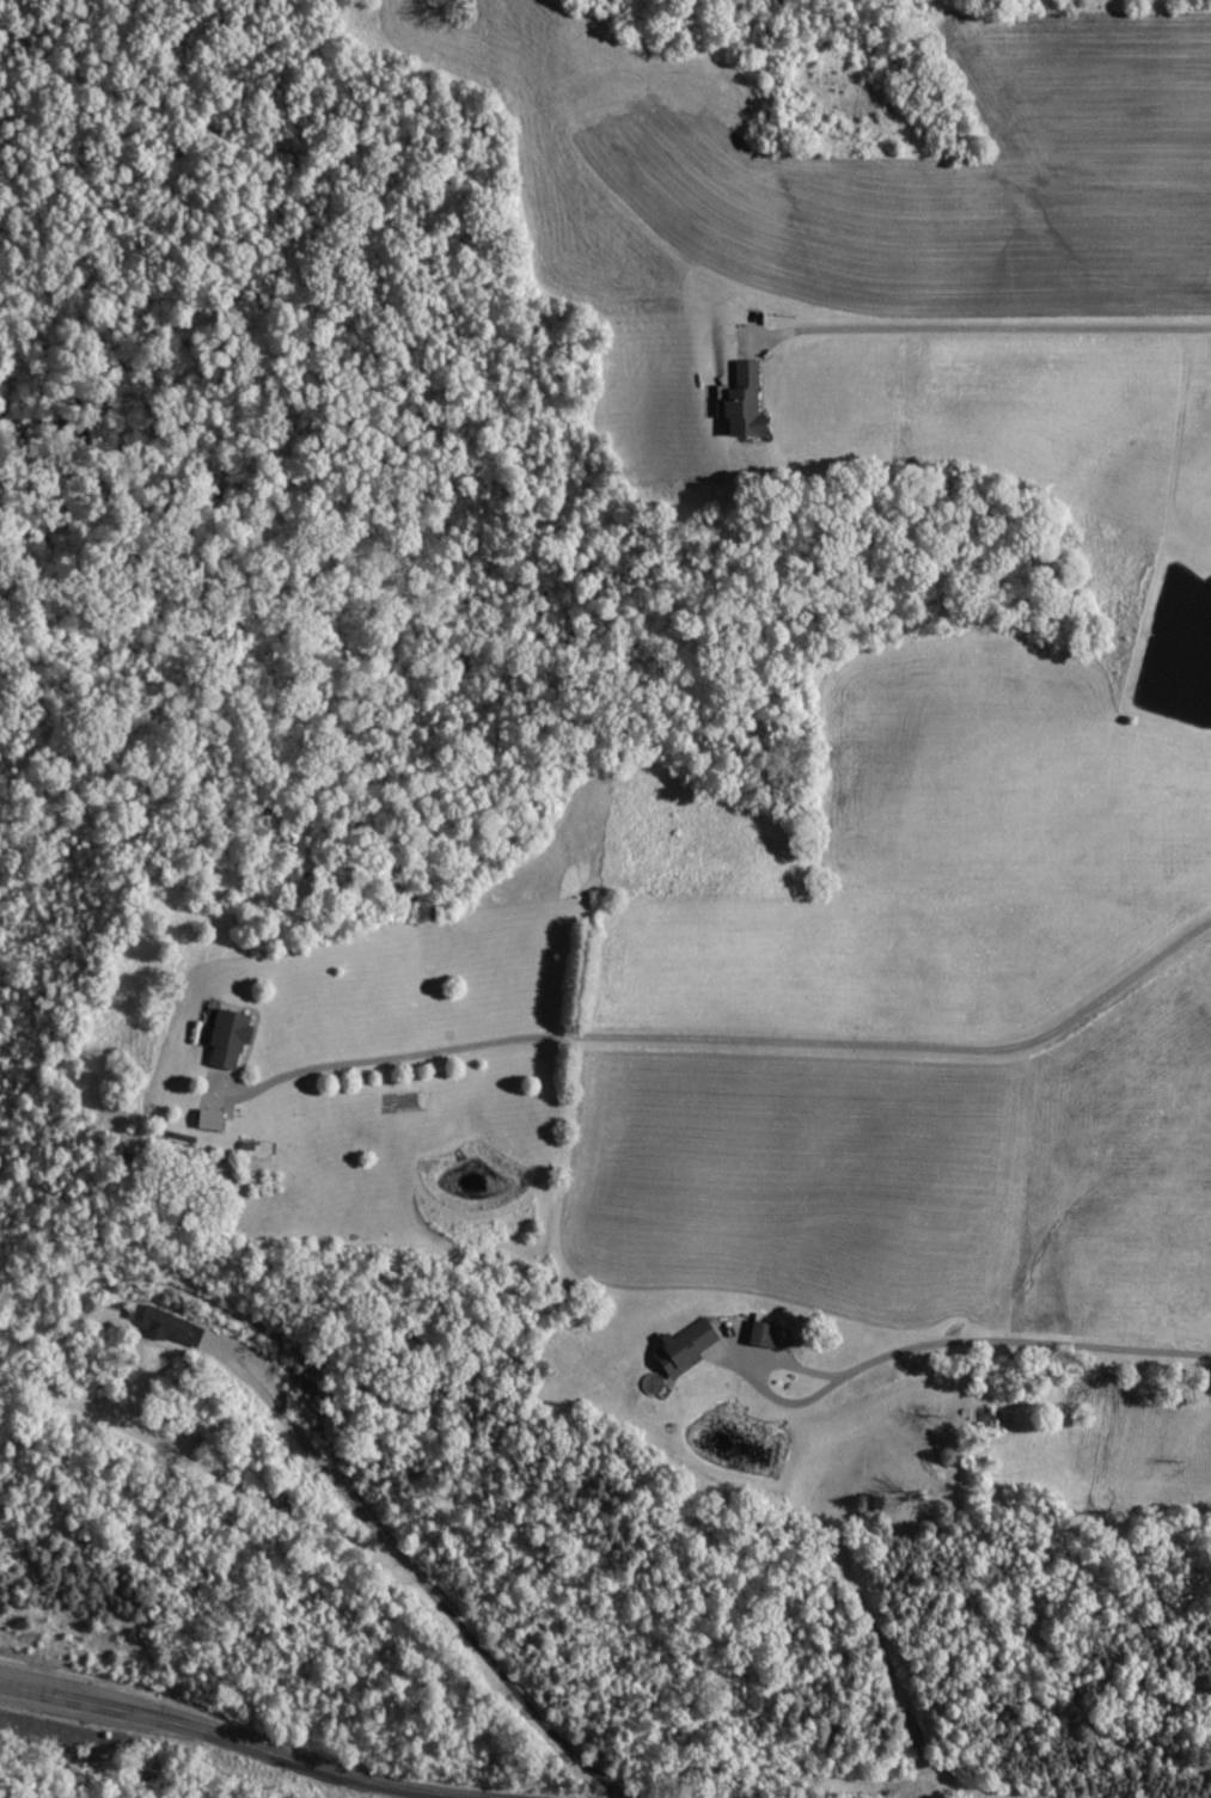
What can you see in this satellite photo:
road: (991, 324)
building: (739, 397)
building: (226, 1033)
road: (726, 1036)
building: (206, 1117)
building: (169, 1322)
building: (760, 1333)
road: (1025, 1339)
building: (681, 1346)
building: (258, 1357)
road: (757, 1377)
road: (415, 1567)
road: (258, 1743)

